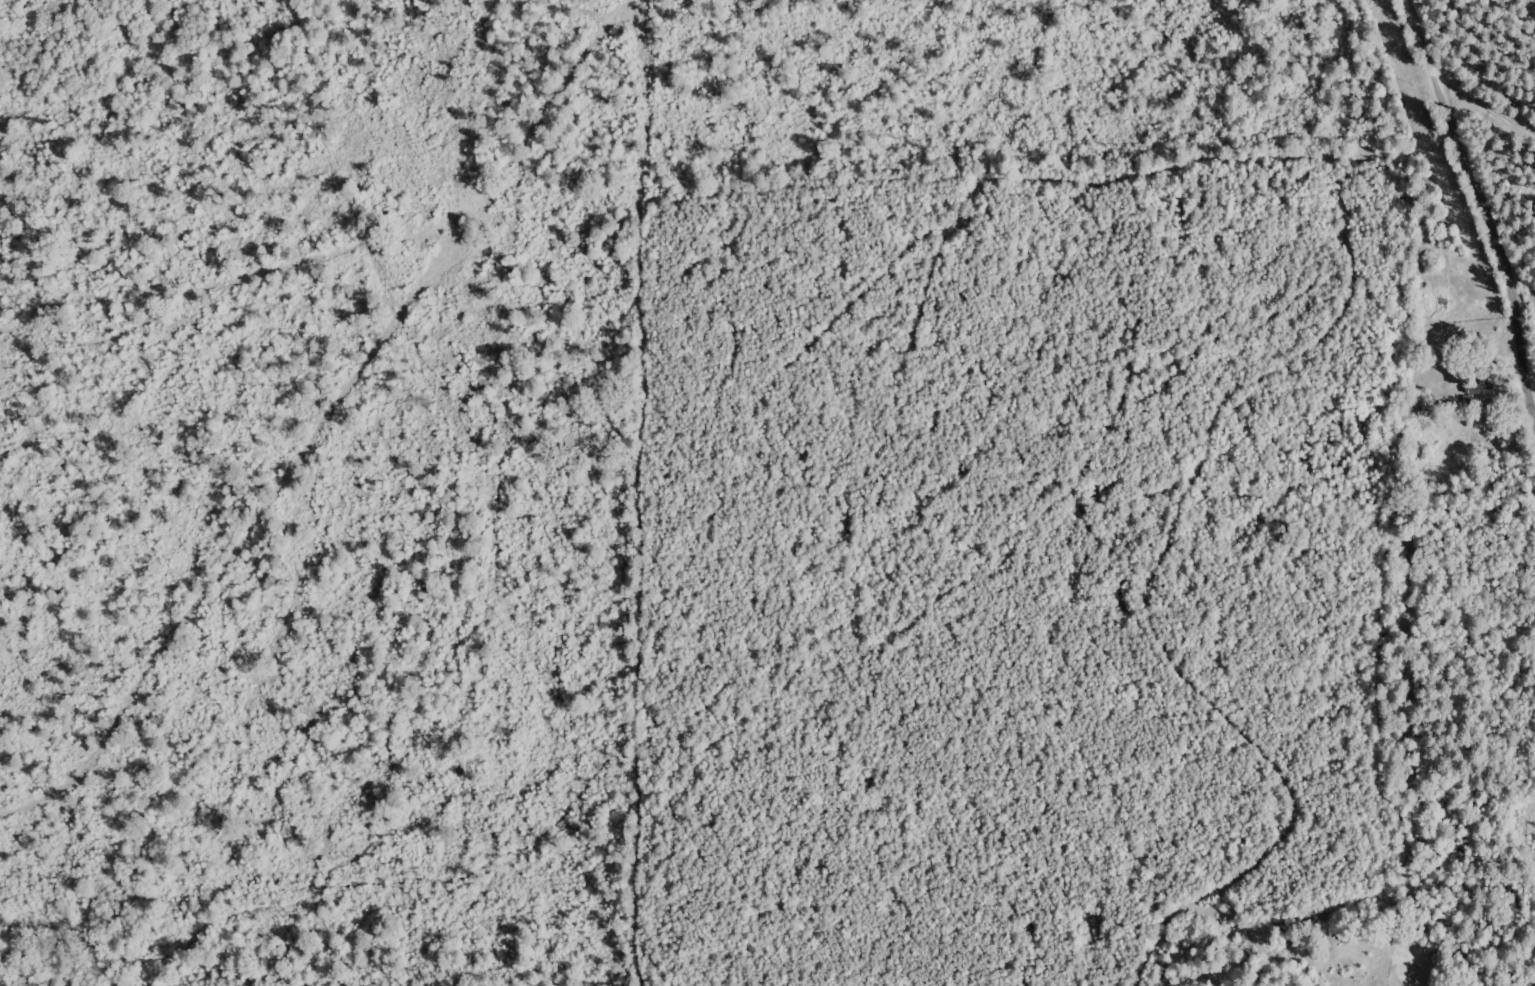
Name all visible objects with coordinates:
road: (1458, 281)

